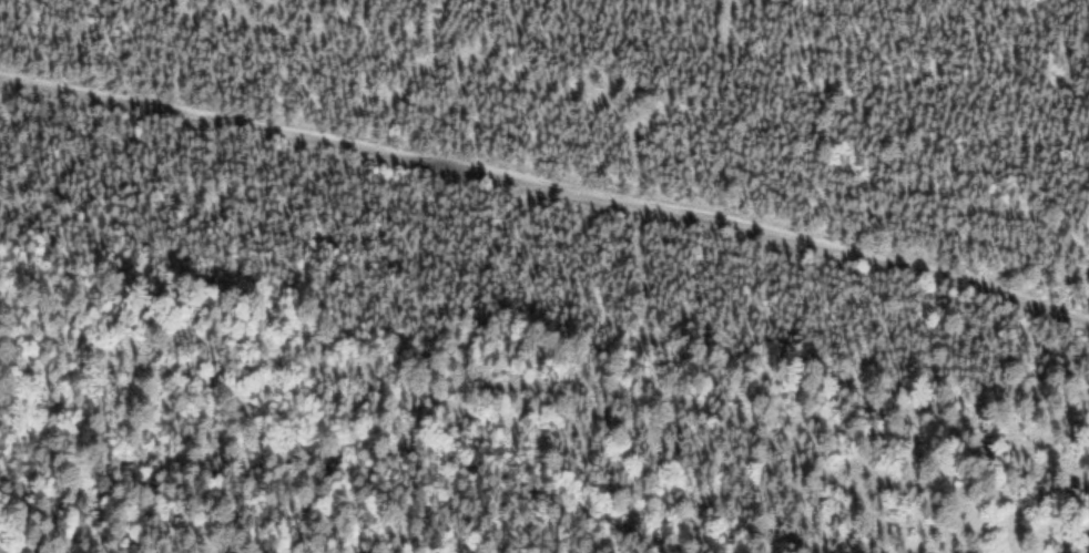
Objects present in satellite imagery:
road: (548, 193)
road: (386, 499)

